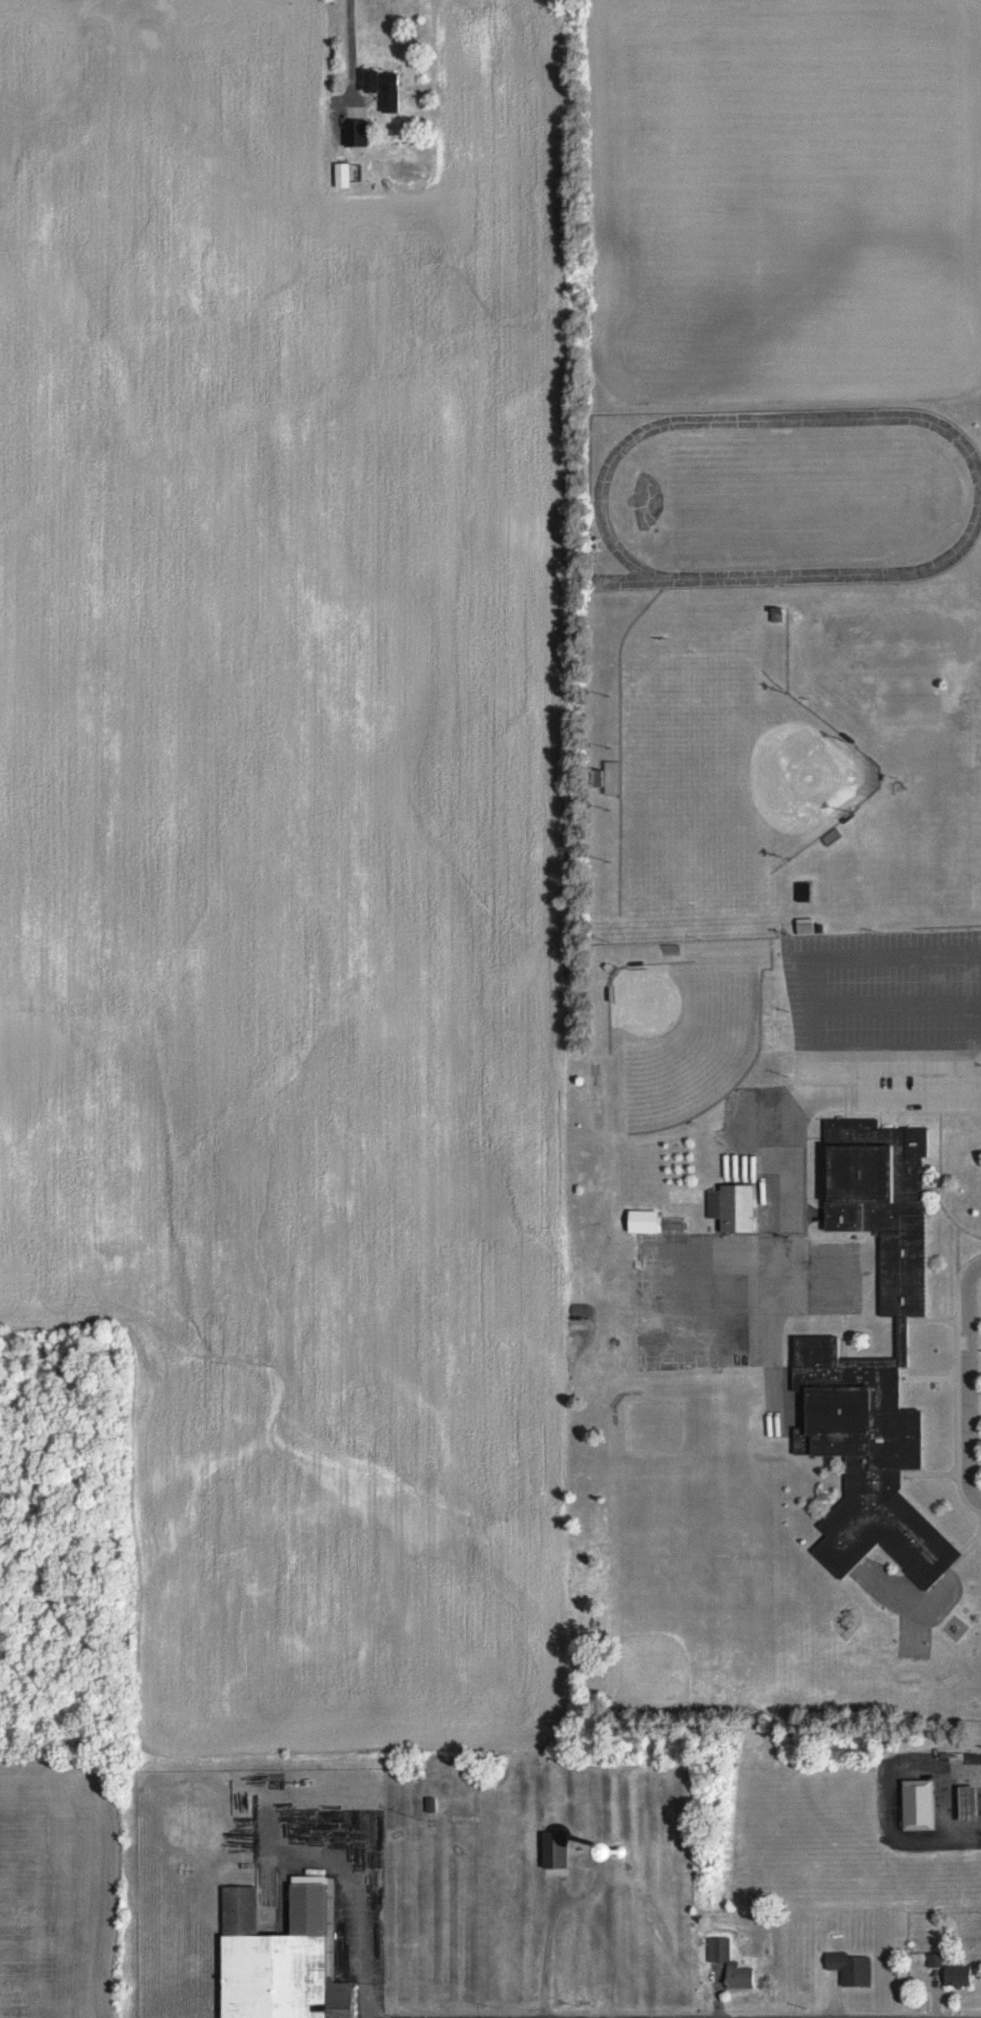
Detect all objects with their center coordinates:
building: (388, 91)
building: (356, 133)
building: (345, 176)
crop: (777, 196)
track: (788, 497)
park: (890, 696)
park: (920, 696)
park: (795, 774)
park: (688, 776)
building: (611, 779)
crop: (296, 849)
building: (807, 927)
park: (681, 1038)
building: (735, 1208)
building: (657, 1223)
building: (876, 1356)
road: (966, 1385)
park: (665, 1450)
park: (912, 1647)
building: (960, 1804)
gas station: (960, 1804)
building: (911, 1806)
building: (560, 1850)
water tower: (618, 1853)
crop: (60, 1891)
building: (284, 1958)
building: (934, 1960)
building: (730, 1963)
building: (851, 1968)
building: (958, 1975)

